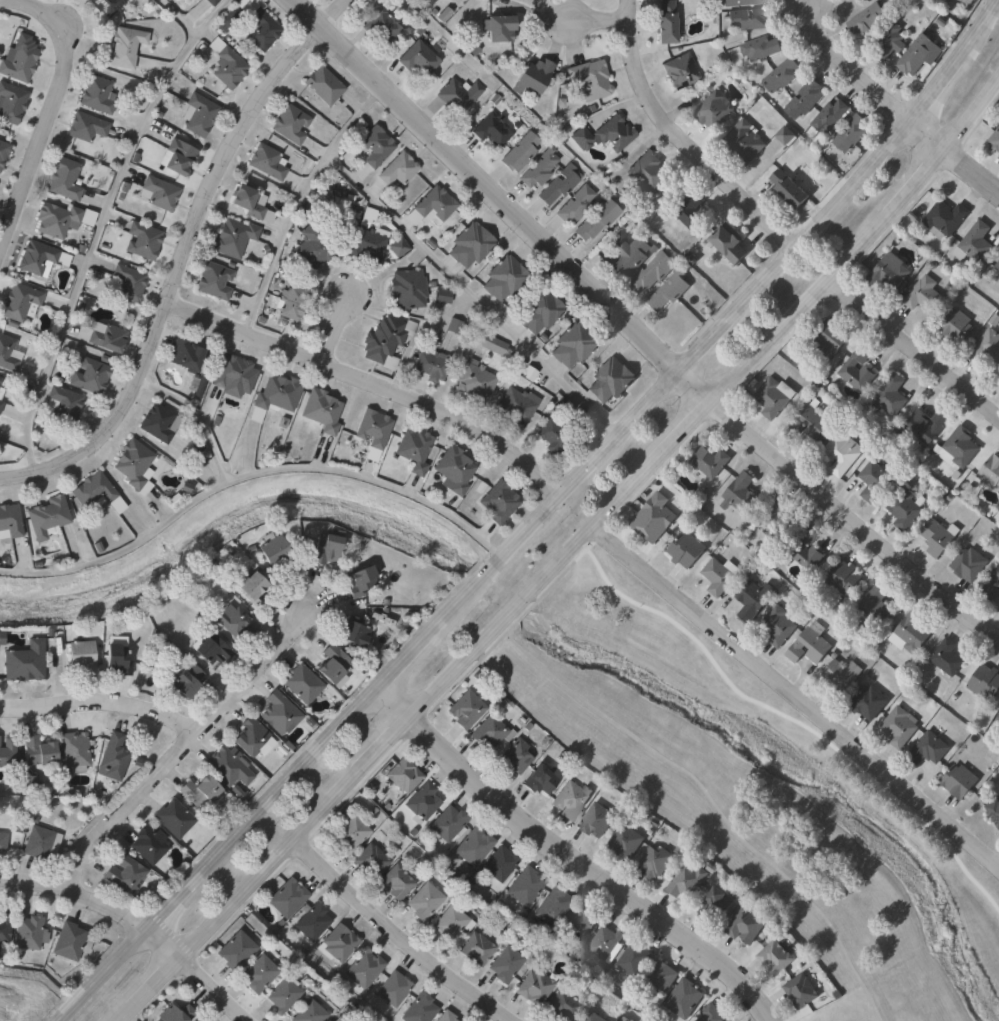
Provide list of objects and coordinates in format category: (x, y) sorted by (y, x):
building: (88, 0)
building: (860, 0)
building: (210, 2)
building: (427, 2)
building: (739, 3)
building: (105, 6)
road: (592, 11)
road: (173, 18)
building: (230, 18)
building: (749, 18)
building: (866, 18)
building: (664, 21)
building: (383, 23)
building: (257, 25)
building: (496, 26)
building: (887, 40)
building: (122, 46)
building: (759, 47)
building: (915, 54)
building: (418, 56)
building: (17, 61)
building: (225, 63)
road: (849, 63)
building: (679, 70)
building: (780, 74)
building: (531, 75)
building: (588, 80)
building: (322, 84)
building: (95, 94)
building: (458, 94)
building: (804, 98)
building: (10, 102)
building: (712, 109)
road: (48, 111)
building: (197, 114)
building: (828, 116)
building: (288, 122)
building: (85, 126)
building: (491, 128)
building: (613, 132)
building: (849, 133)
building: (784, 134)
road: (682, 137)
building: (994, 140)
building: (743, 141)
building: (374, 145)
building: (3, 150)
building: (518, 151)
building: (176, 155)
road: (953, 156)
building: (266, 161)
building: (397, 168)
building: (538, 168)
building: (647, 172)
building: (65, 178)
road: (483, 184)
building: (557, 184)
building: (787, 188)
building: (159, 192)
road: (296, 198)
building: (249, 202)
building: (574, 204)
building: (430, 206)
building: (307, 208)
building: (691, 211)
building: (368, 214)
building: (55, 218)
building: (595, 218)
building: (943, 218)
road: (96, 222)
building: (232, 236)
building: (141, 240)
building: (976, 241)
building: (366, 242)
building: (727, 242)
building: (469, 244)
building: (312, 246)
building: (396, 246)
road: (181, 256)
building: (628, 256)
building: (35, 257)
building: (997, 266)
building: (651, 272)
building: (888, 274)
building: (502, 278)
building: (213, 280)
building: (127, 282)
building: (406, 288)
building: (668, 290)
road: (468, 294)
building: (923, 294)
building: (441, 295)
building: (18, 301)
building: (234, 302)
building: (288, 305)
building: (538, 310)
road: (330, 325)
building: (453, 325)
building: (955, 325)
building: (106, 337)
building: (828, 337)
building: (384, 340)
building: (492, 344)
building: (572, 345)
building: (987, 345)
road: (911, 348)
building: (3, 352)
building: (182, 353)
building: (430, 364)
building: (856, 370)
building: (230, 372)
building: (88, 375)
building: (0, 376)
building: (610, 379)
road: (371, 380)
building: (474, 380)
building: (197, 381)
road: (688, 386)
building: (0, 389)
building: (888, 395)
building: (273, 396)
building: (770, 397)
building: (0, 402)
building: (61, 403)
building: (514, 405)
building: (320, 410)
road: (195, 417)
building: (807, 421)
building: (156, 422)
building: (925, 425)
building: (372, 431)
building: (551, 436)
building: (959, 448)
building: (413, 450)
building: (839, 453)
building: (708, 464)
building: (133, 465)
building: (454, 469)
building: (990, 472)
road: (249, 475)
building: (875, 480)
building: (92, 491)
building: (740, 492)
building: (498, 501)
building: (904, 509)
building: (46, 516)
building: (652, 517)
road: (535, 518)
building: (775, 518)
road: (850, 520)
building: (9, 521)
building: (938, 537)
building: (324, 549)
building: (805, 549)
building: (273, 550)
building: (684, 550)
road: (561, 556)
building: (968, 564)
building: (718, 576)
building: (842, 577)
building: (362, 578)
building: (991, 585)
building: (248, 588)
building: (752, 599)
building: (875, 605)
building: (233, 620)
building: (778, 625)
building: (912, 632)
building: (352, 633)
building: (808, 645)
building: (209, 651)
building: (80, 655)
building: (946, 657)
building: (114, 659)
building: (22, 662)
building: (330, 664)
building: (839, 676)
building: (182, 680)
building: (984, 682)
building: (301, 684)
road: (794, 696)
road: (99, 698)
building: (867, 703)
building: (465, 710)
building: (278, 713)
building: (997, 720)
building: (899, 727)
building: (487, 732)
building: (248, 737)
road: (181, 742)
building: (928, 749)
building: (72, 750)
building: (35, 752)
building: (7, 755)
building: (112, 757)
building: (514, 757)
building: (226, 767)
building: (402, 775)
building: (540, 780)
building: (958, 781)
building: (30, 782)
park: (779, 784)
building: (196, 792)
building: (569, 800)
building: (421, 802)
road: (712, 808)
building: (993, 812)
building: (172, 818)
building: (595, 821)
building: (446, 823)
building: (347, 830)
building: (2, 842)
building: (624, 842)
building: (39, 844)
building: (146, 845)
building: (472, 846)
road: (573, 854)
building: (369, 859)
building: (654, 863)
building: (497, 865)
building: (122, 874)
building: (394, 881)
building: (685, 882)
building: (523, 887)
building: (286, 896)
building: (422, 900)
building: (714, 904)
building: (551, 905)
building: (311, 920)
building: (449, 921)
road: (139, 922)
building: (577, 922)
building: (3, 925)
building: (744, 926)
building: (28, 932)
road: (399, 934)
building: (69, 940)
building: (337, 942)
building: (604, 943)
building: (474, 947)
building: (234, 948)
building: (633, 958)
building: (774, 958)
building: (503, 963)
building: (363, 967)
building: (256, 972)
building: (661, 974)
building: (532, 985)
building: (393, 988)
building: (800, 991)
building: (281, 993)
building: (682, 997)
building: (561, 1005)
building: (417, 1008)
building: (308, 1012)
building: (173, 1013)
building: (711, 1013)
building: (444, 1016)
building: (592, 1016)
building: (624, 1018)
building: (198, 1019)
building: (336, 1019)

